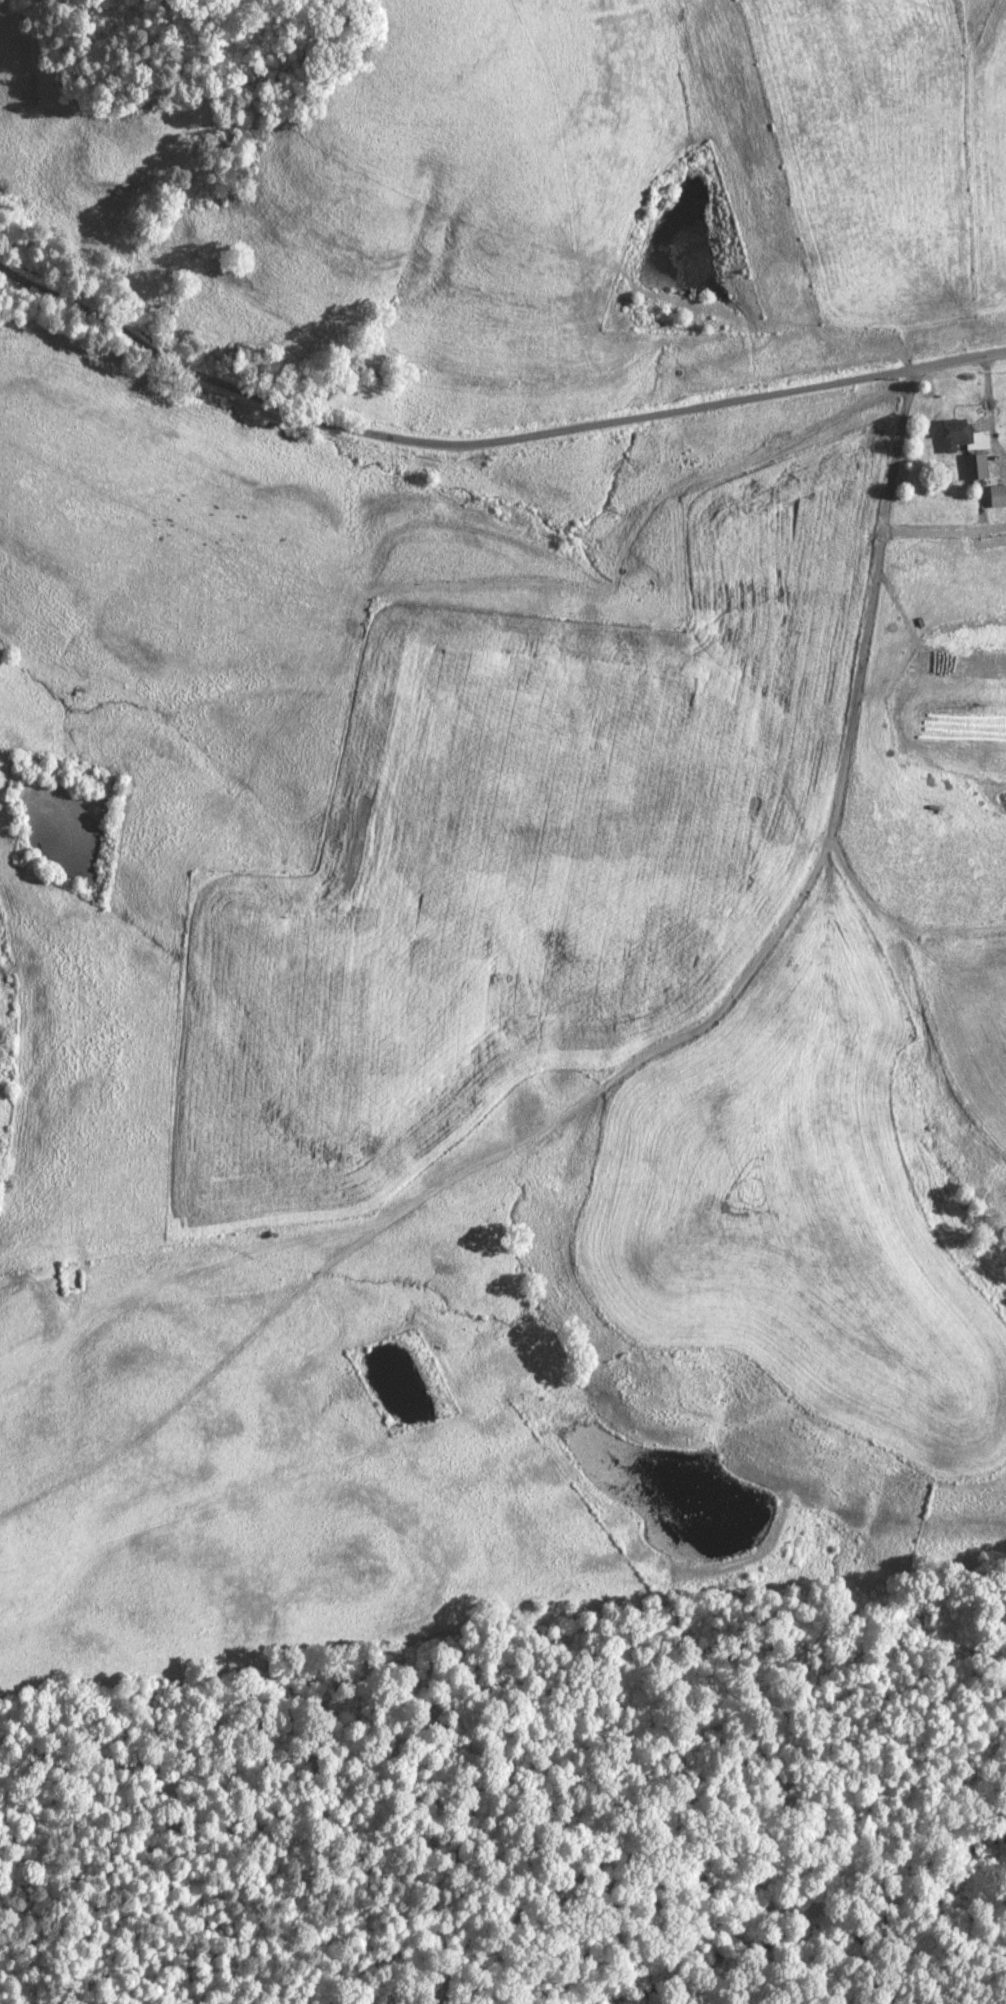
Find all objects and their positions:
building: (961, 439)
road: (487, 442)
building: (974, 467)
building: (996, 496)

